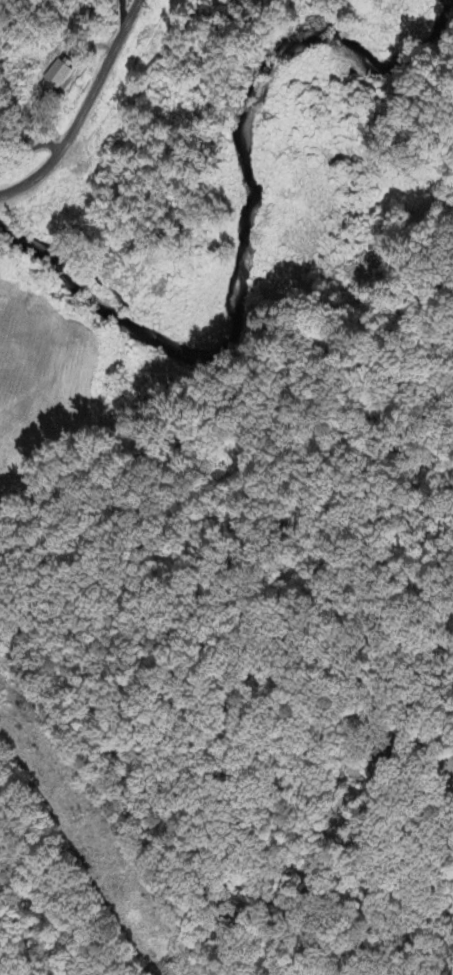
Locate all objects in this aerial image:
road: (84, 111)
road: (31, 157)
road: (433, 798)
power tower: (79, 821)

